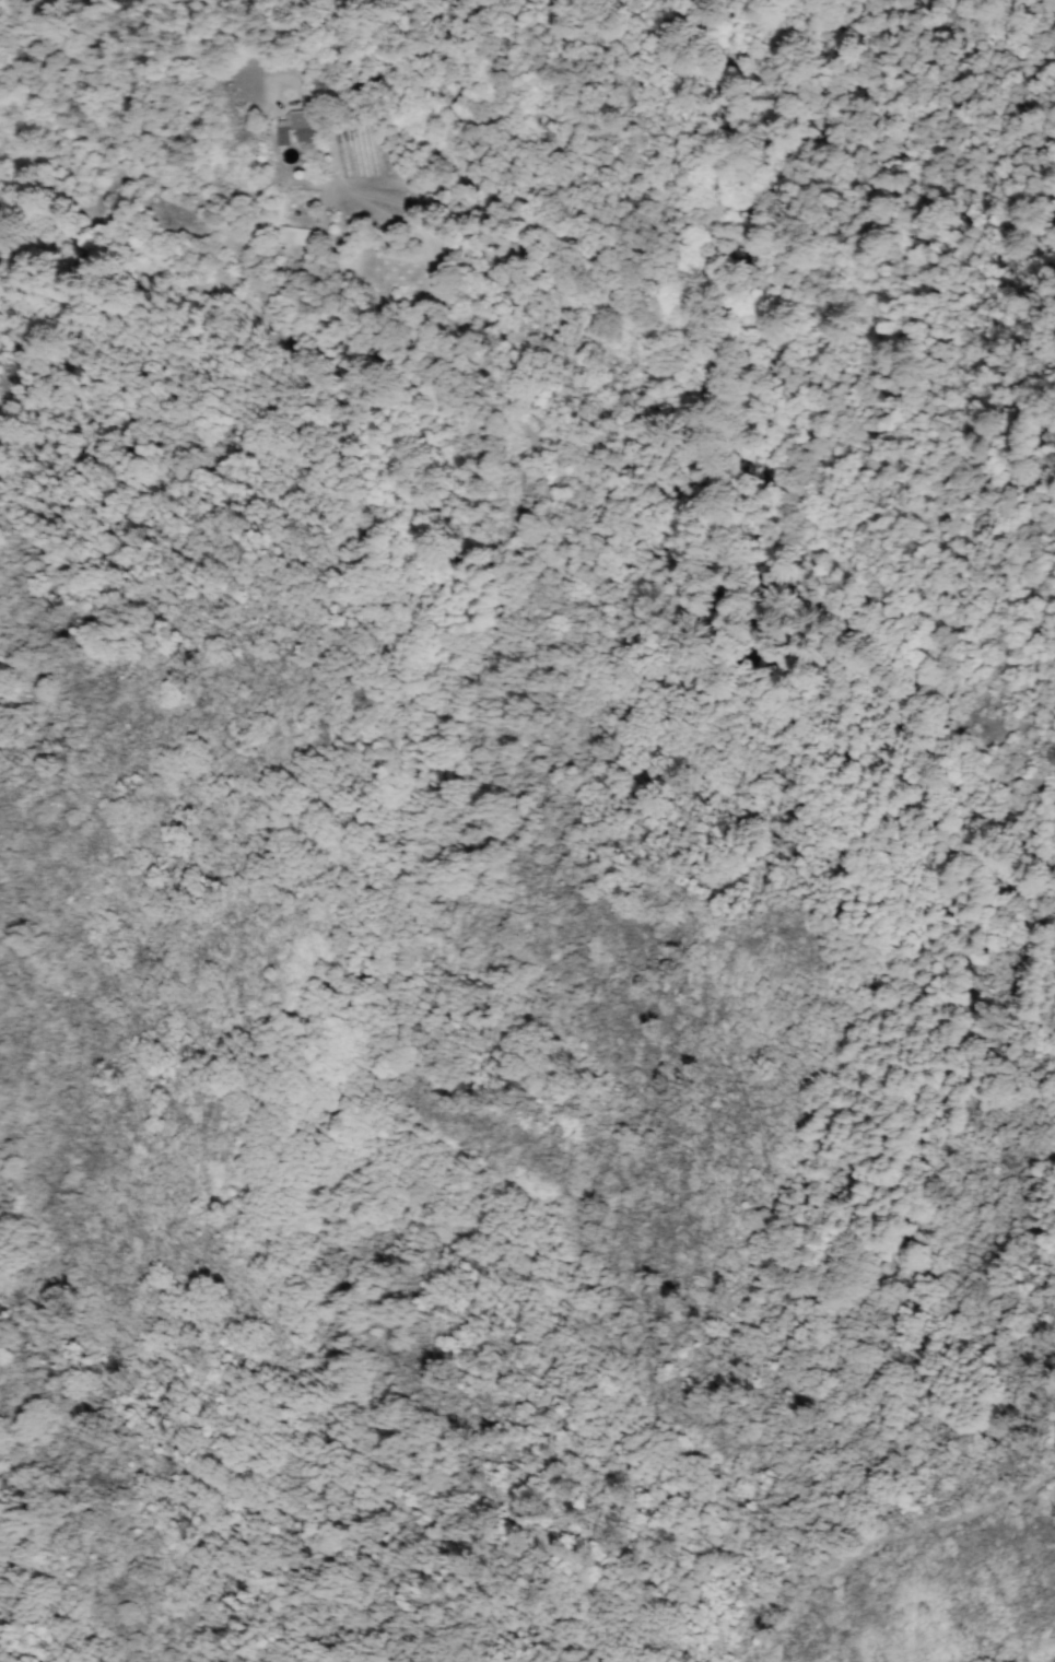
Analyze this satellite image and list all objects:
building: (297, 131)
building: (291, 234)
building: (302, 244)
road: (891, 1542)

